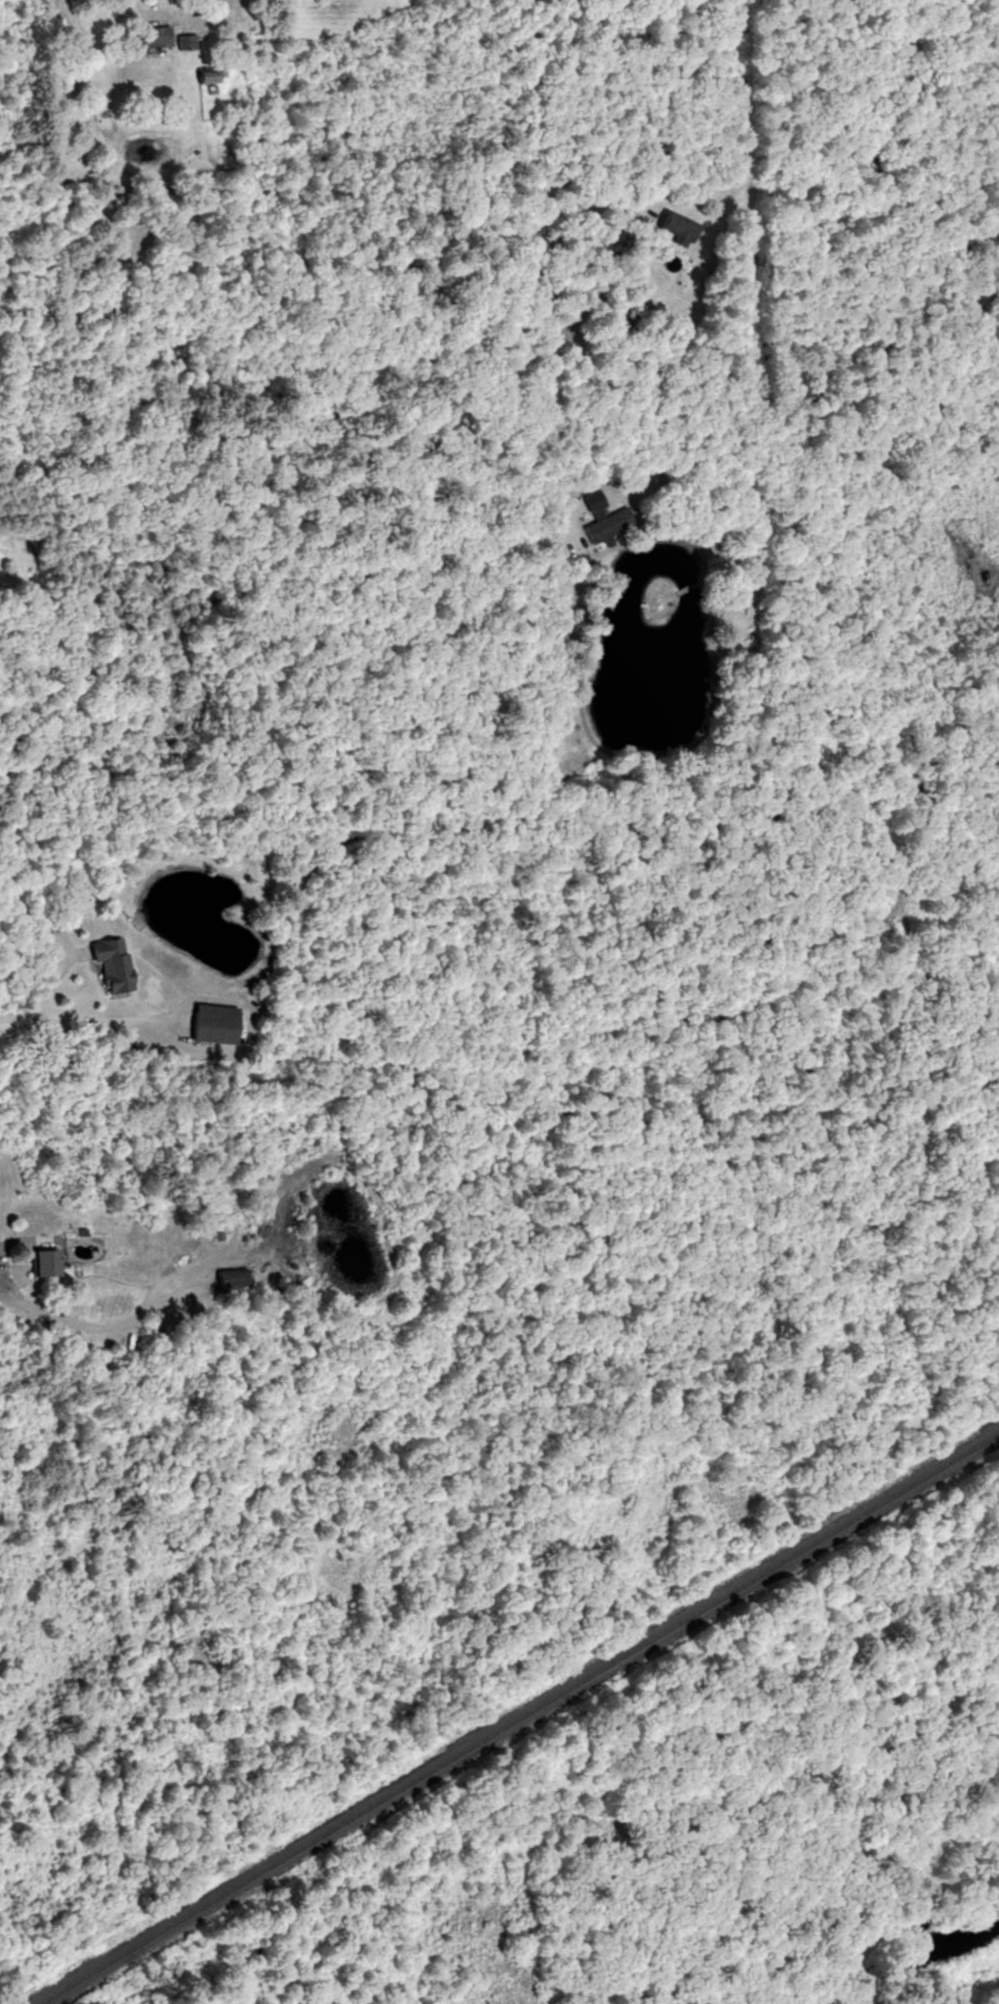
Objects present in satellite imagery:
road: (181, 7)
building: (149, 37)
building: (182, 43)
building: (199, 79)
building: (672, 228)
road: (553, 237)
building: (600, 520)
building: (108, 963)
road: (40, 999)
building: (212, 1024)
building: (39, 1262)
railway: (518, 1718)

